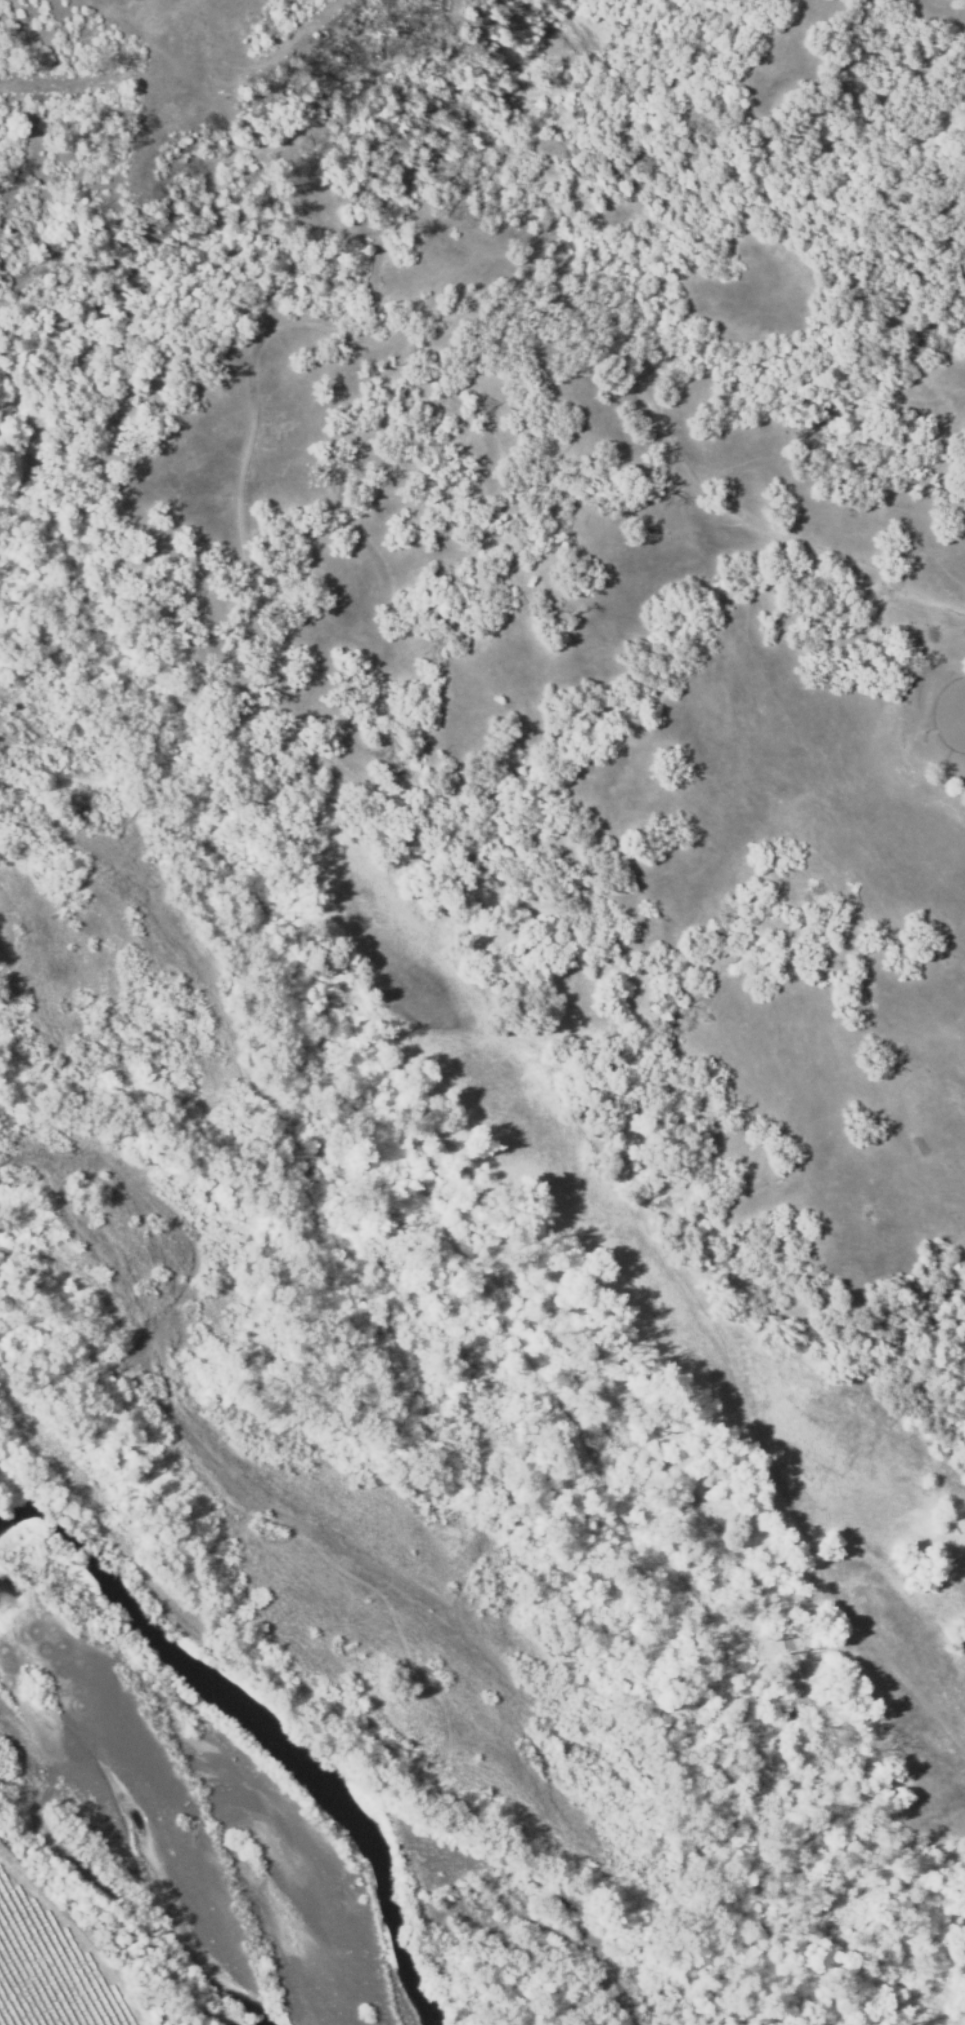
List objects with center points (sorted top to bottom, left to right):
river: (101, 1829)

